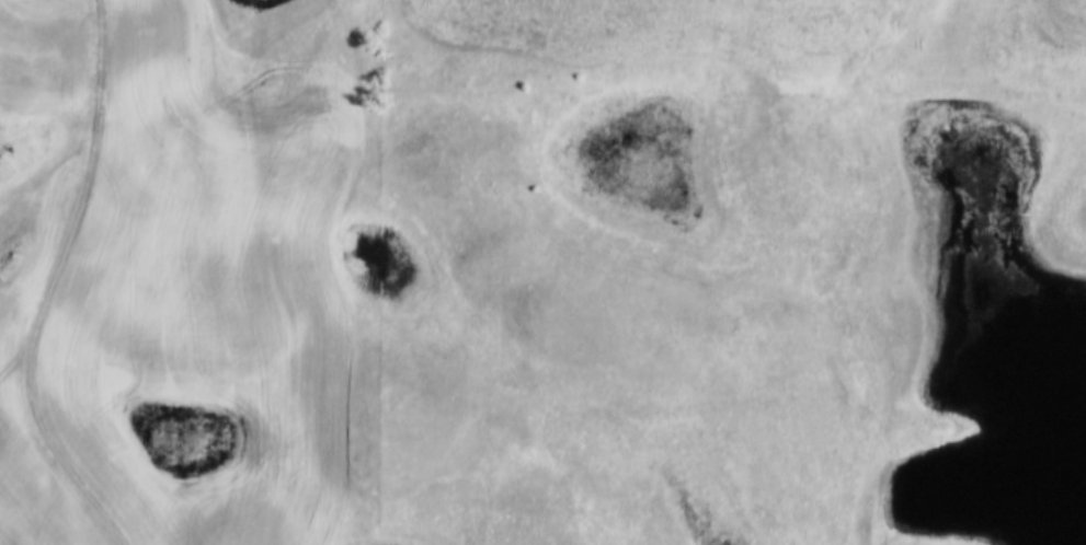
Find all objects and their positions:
road: (256, 280)

